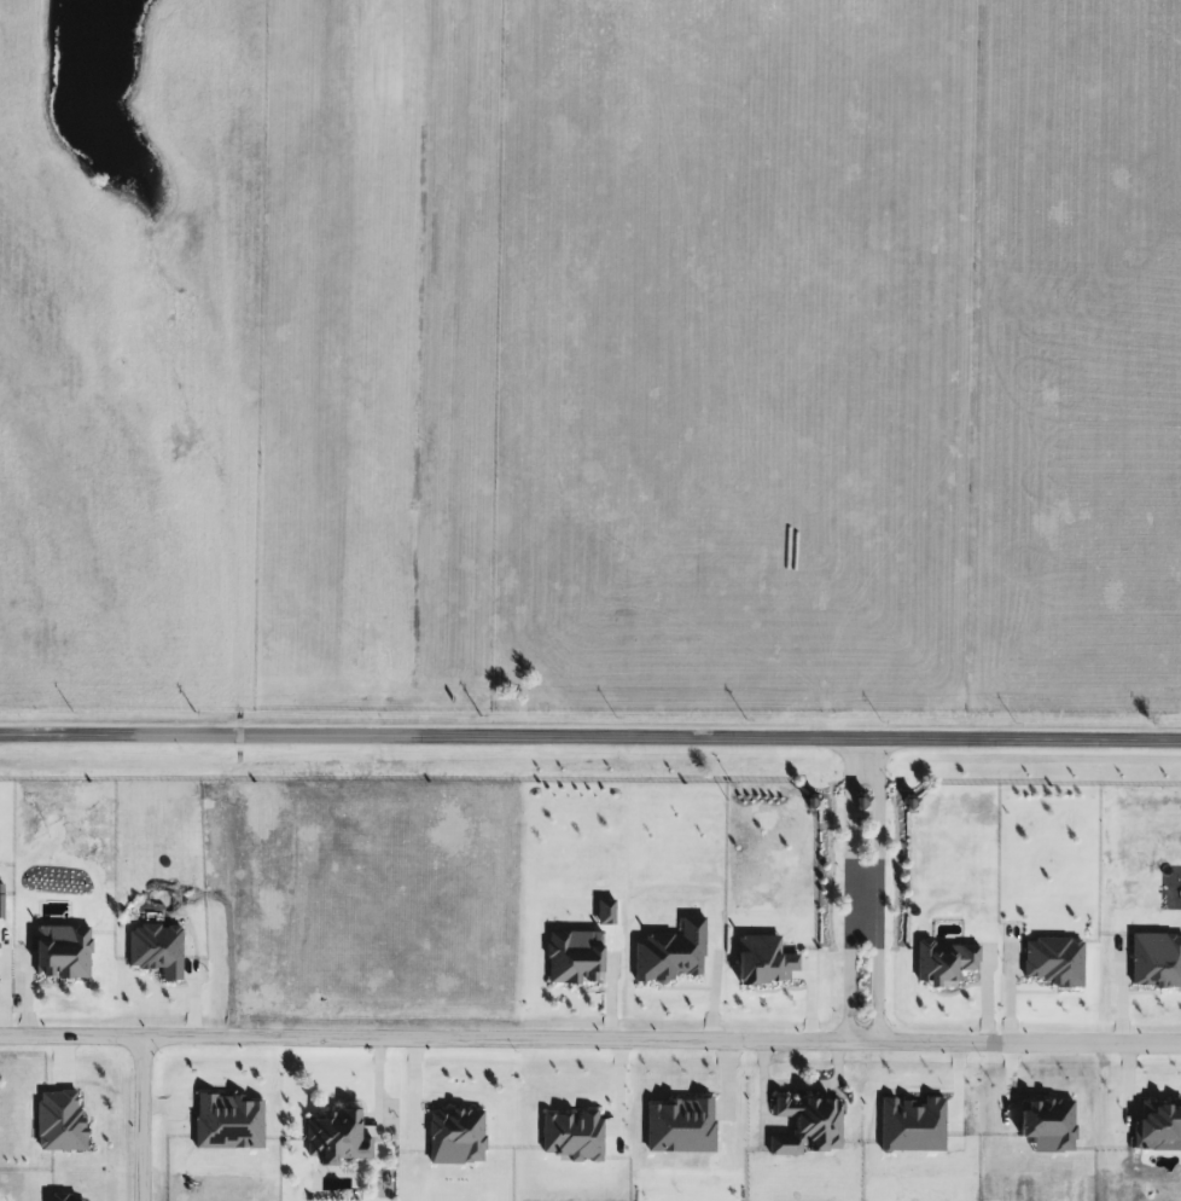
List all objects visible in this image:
airport runway: (373, 685)
road: (115, 737)
road: (705, 737)
road: (848, 888)
road: (878, 888)
road: (589, 1037)
road: (135, 1118)
building: (810, 1122)
building: (576, 1133)
building: (338, 1135)

